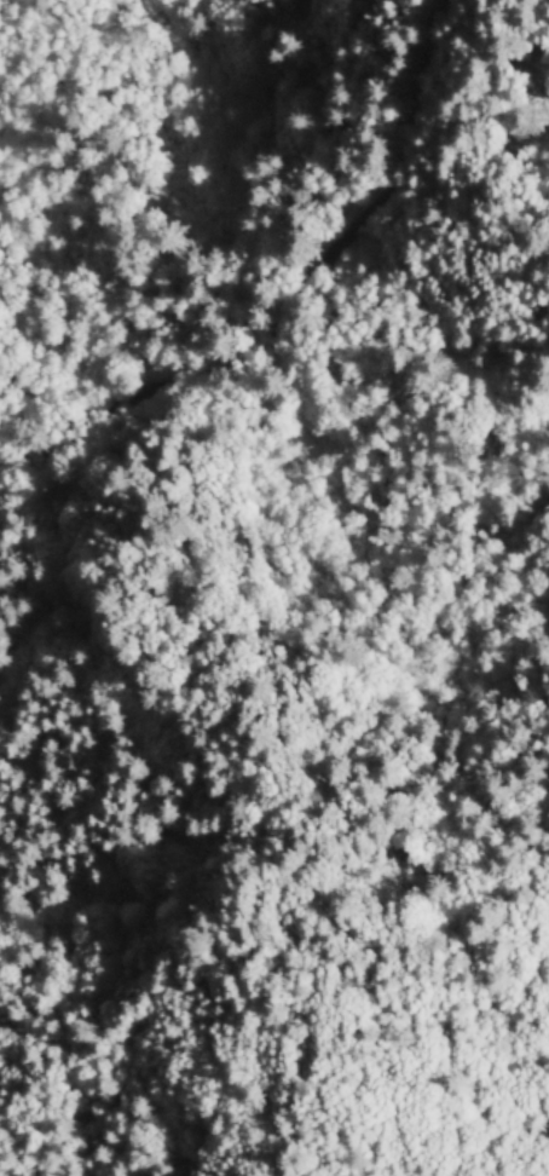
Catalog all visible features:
road: (329, 363)

